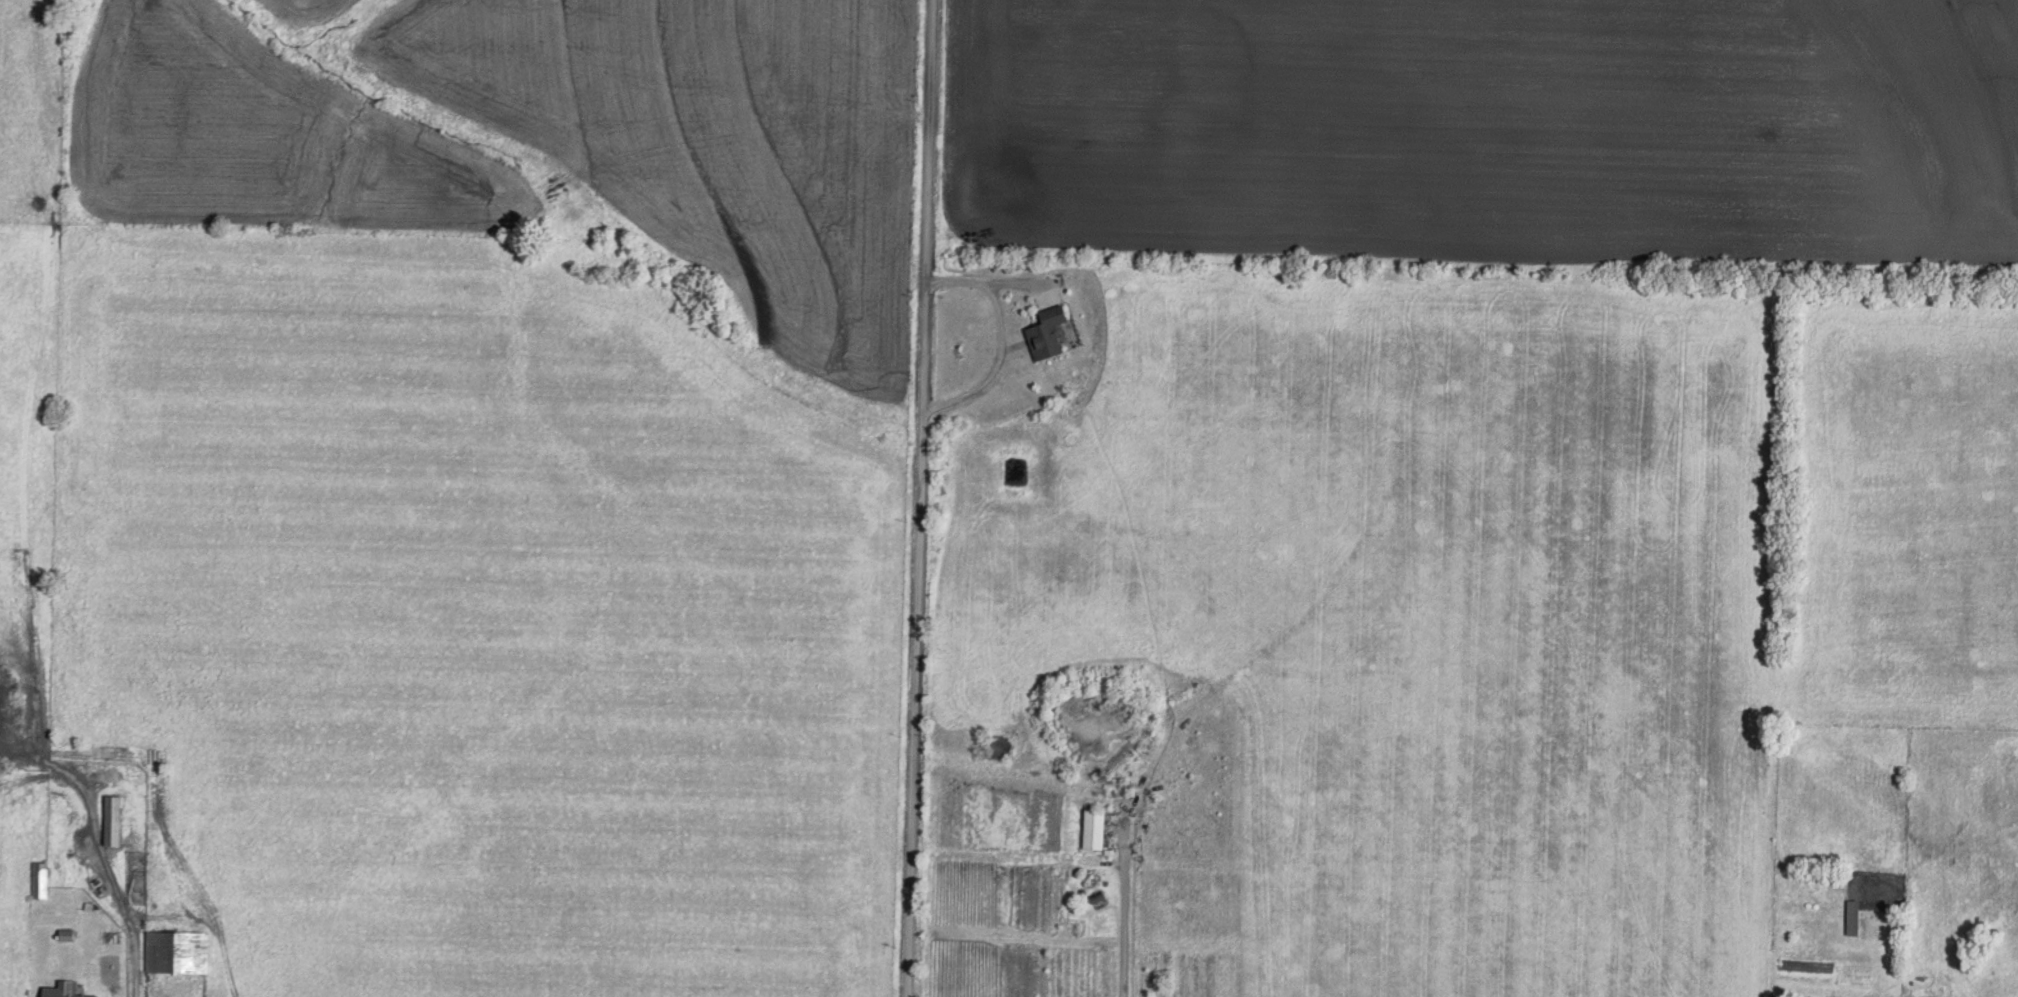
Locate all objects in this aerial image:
crop: (1490, 129)
crop: (549, 144)
building: (1047, 334)
road: (909, 498)
building: (112, 821)
building: (1094, 830)
building: (40, 881)
building: (1852, 918)
building: (177, 953)
building: (62, 990)

